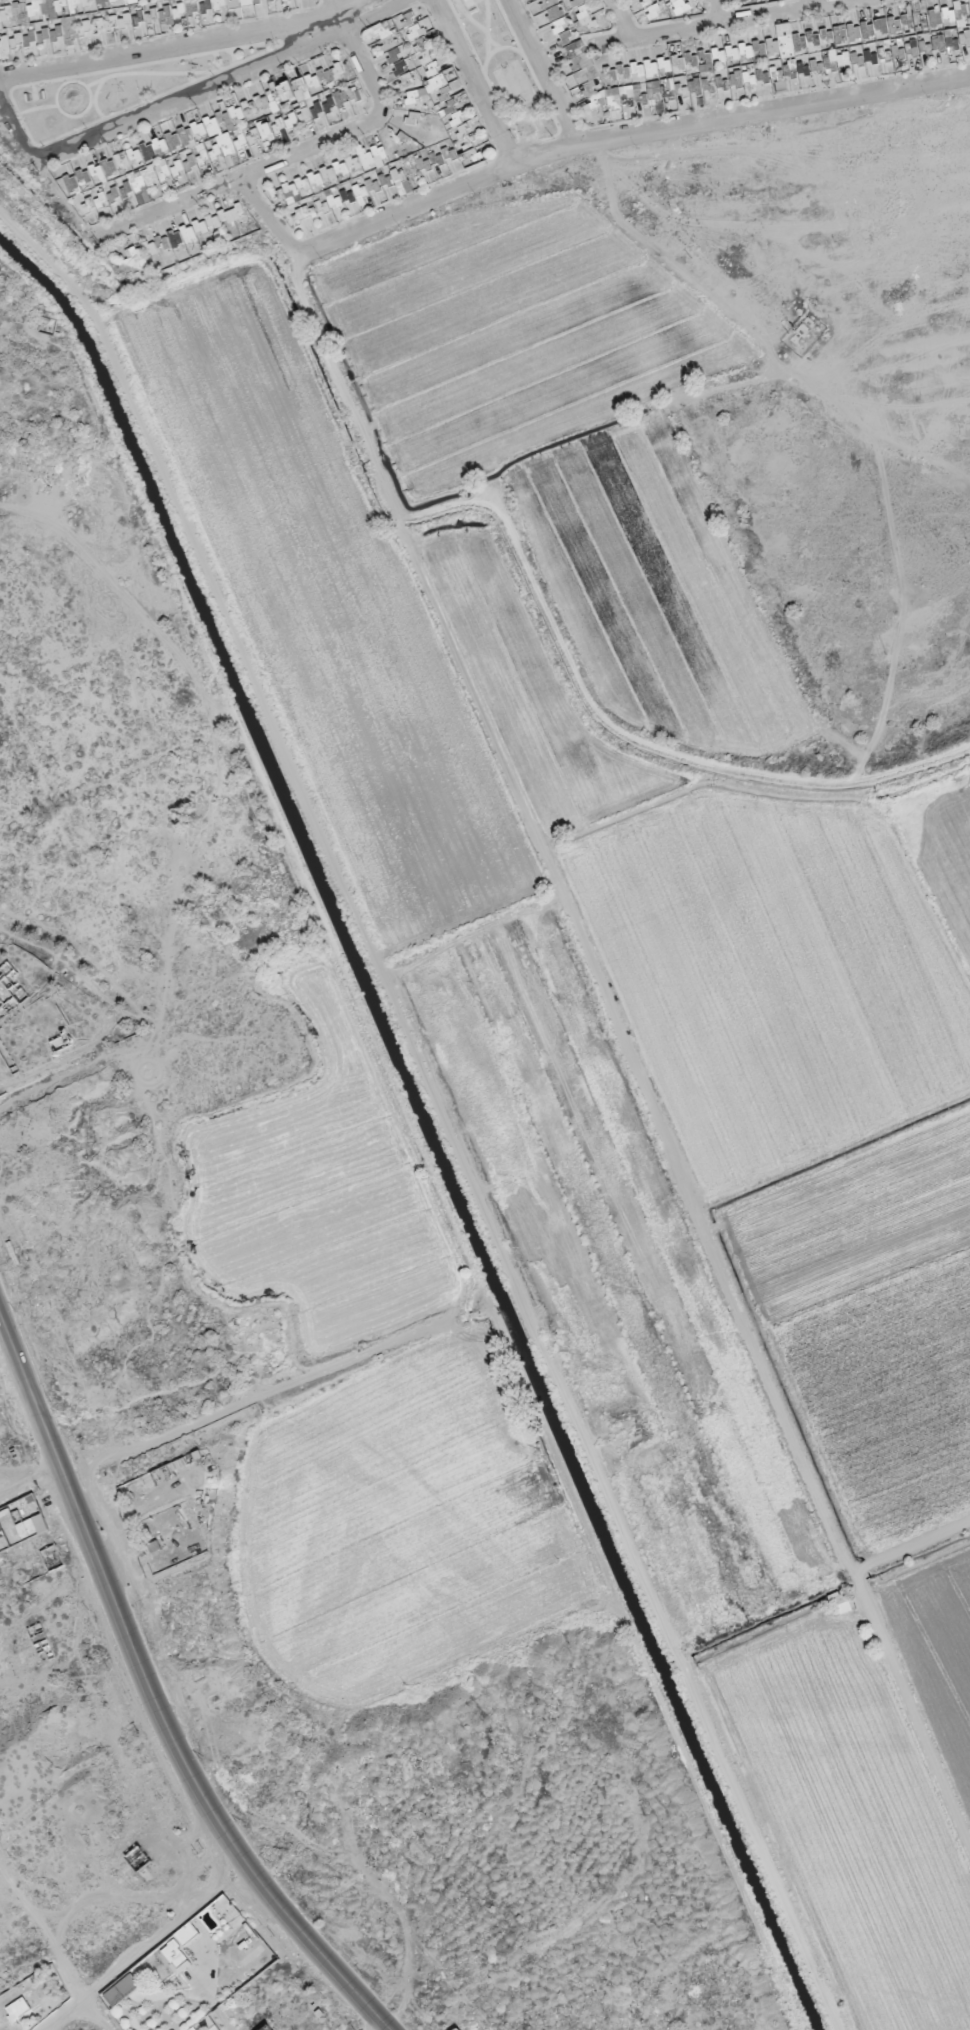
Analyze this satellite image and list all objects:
road: (815, 4)
building: (921, 18)
road: (749, 20)
building: (786, 49)
road: (625, 141)
road: (910, 1549)

